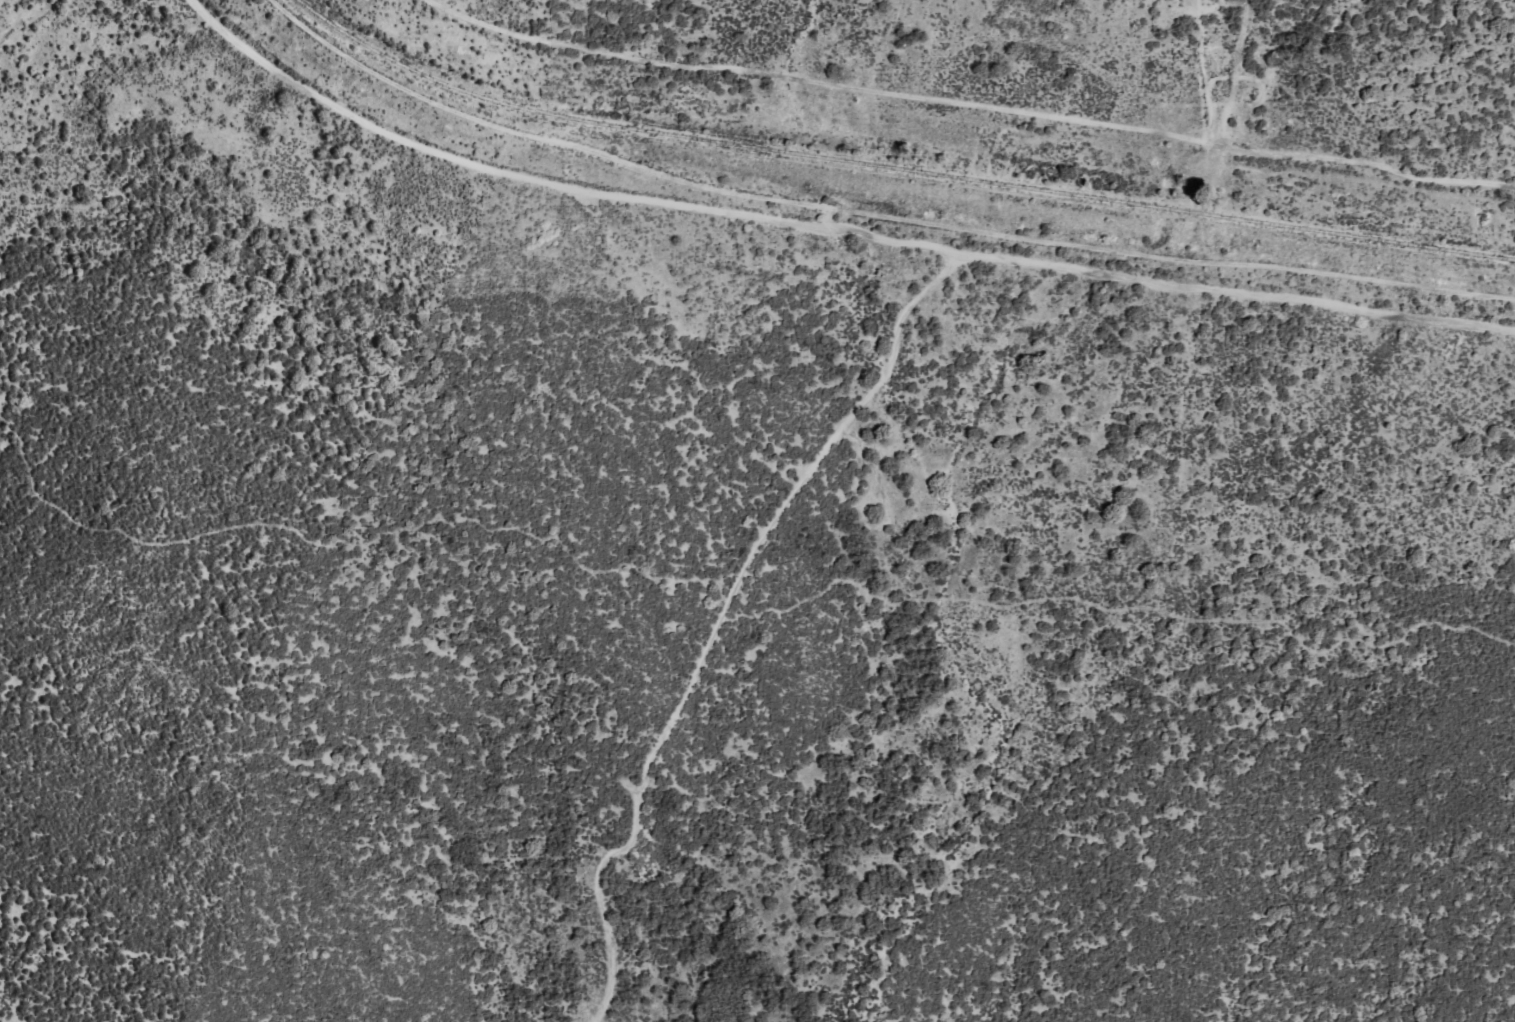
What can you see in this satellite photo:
railway: (899, 165)

